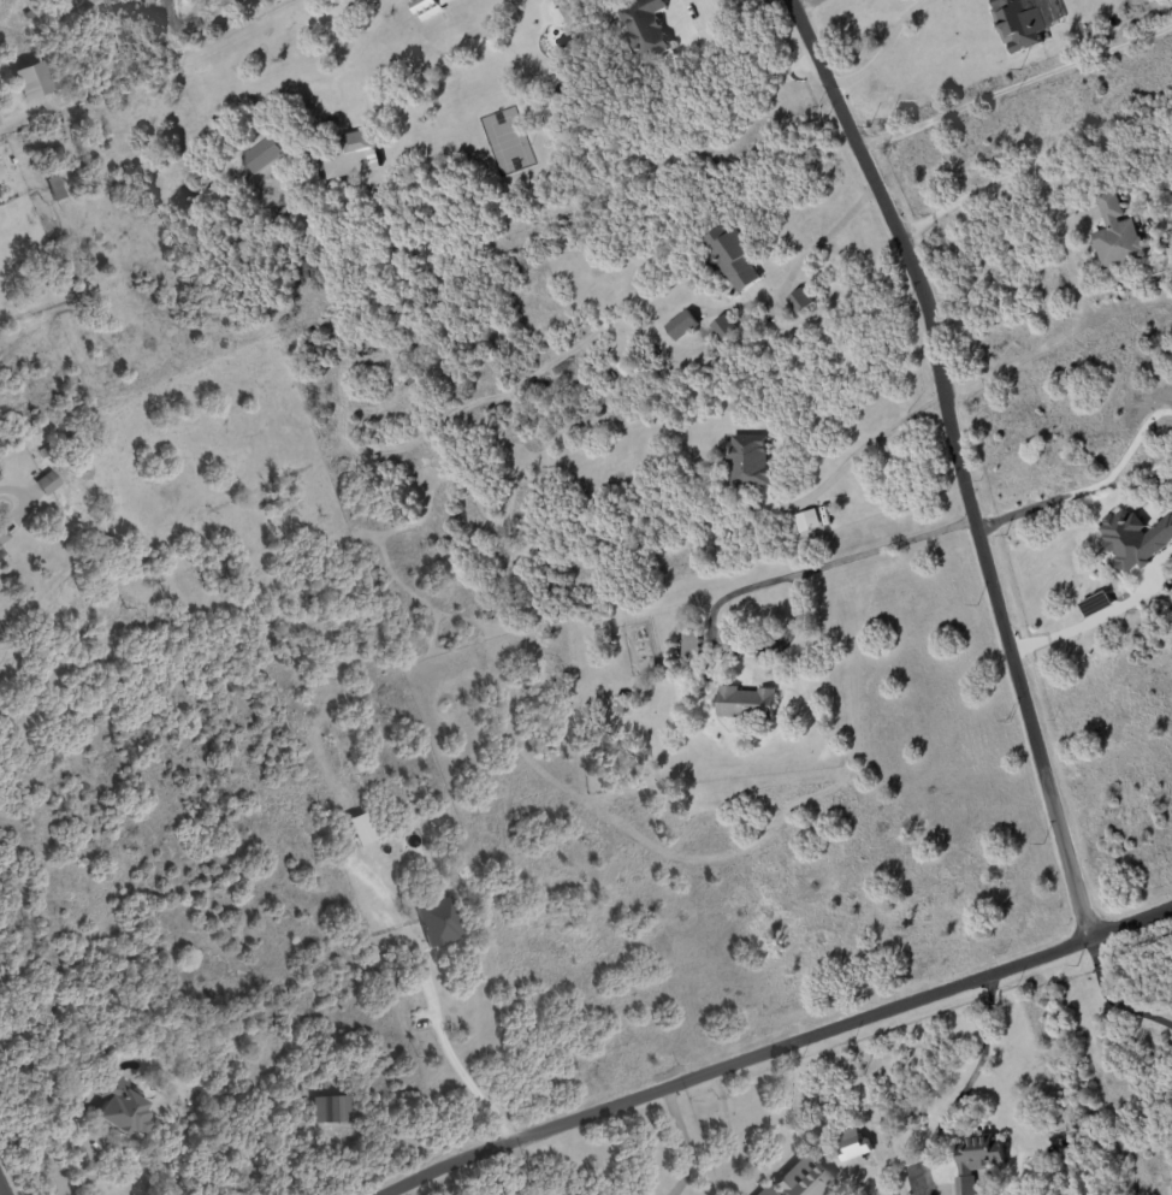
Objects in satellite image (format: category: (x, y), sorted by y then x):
building: (428, 7)
building: (561, 10)
building: (1022, 20)
building: (644, 28)
road: (356, 47)
road: (888, 48)
road: (738, 55)
building: (31, 79)
road: (1014, 85)
building: (362, 148)
building: (265, 155)
building: (54, 182)
building: (1119, 232)
road: (818, 241)
road: (1066, 247)
building: (729, 255)
building: (801, 298)
building: (683, 324)
building: (626, 367)
building: (71, 438)
building: (47, 449)
road: (850, 457)
building: (751, 459)
road: (958, 461)
building: (35, 473)
building: (0, 475)
building: (48, 481)
building: (809, 519)
building: (4, 533)
building: (1133, 537)
building: (730, 542)
building: (1, 551)
road: (757, 584)
road: (1100, 615)
road: (1030, 643)
building: (693, 644)
building: (622, 703)
building: (747, 703)
building: (593, 789)
building: (362, 828)
building: (439, 921)
road: (1132, 924)
building: (387, 956)
road: (1111, 999)
road: (449, 1051)
road: (741, 1061)
road: (964, 1085)
building: (123, 1105)
building: (333, 1108)
road: (685, 1142)
building: (857, 1147)
building: (979, 1161)
road: (519, 1167)
building: (806, 1178)
road: (2, 1187)
building: (765, 1191)

